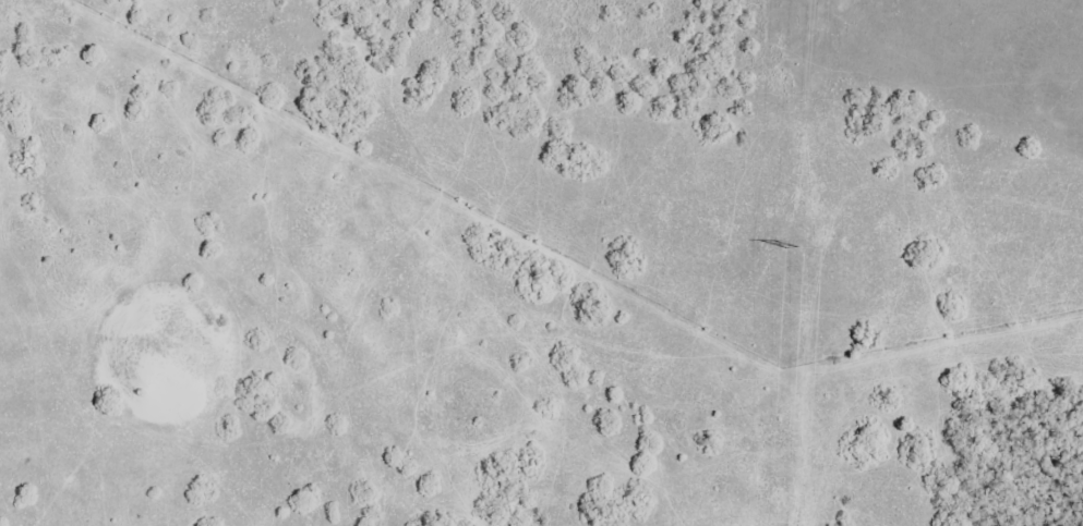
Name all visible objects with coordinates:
power tower: (796, 247)

